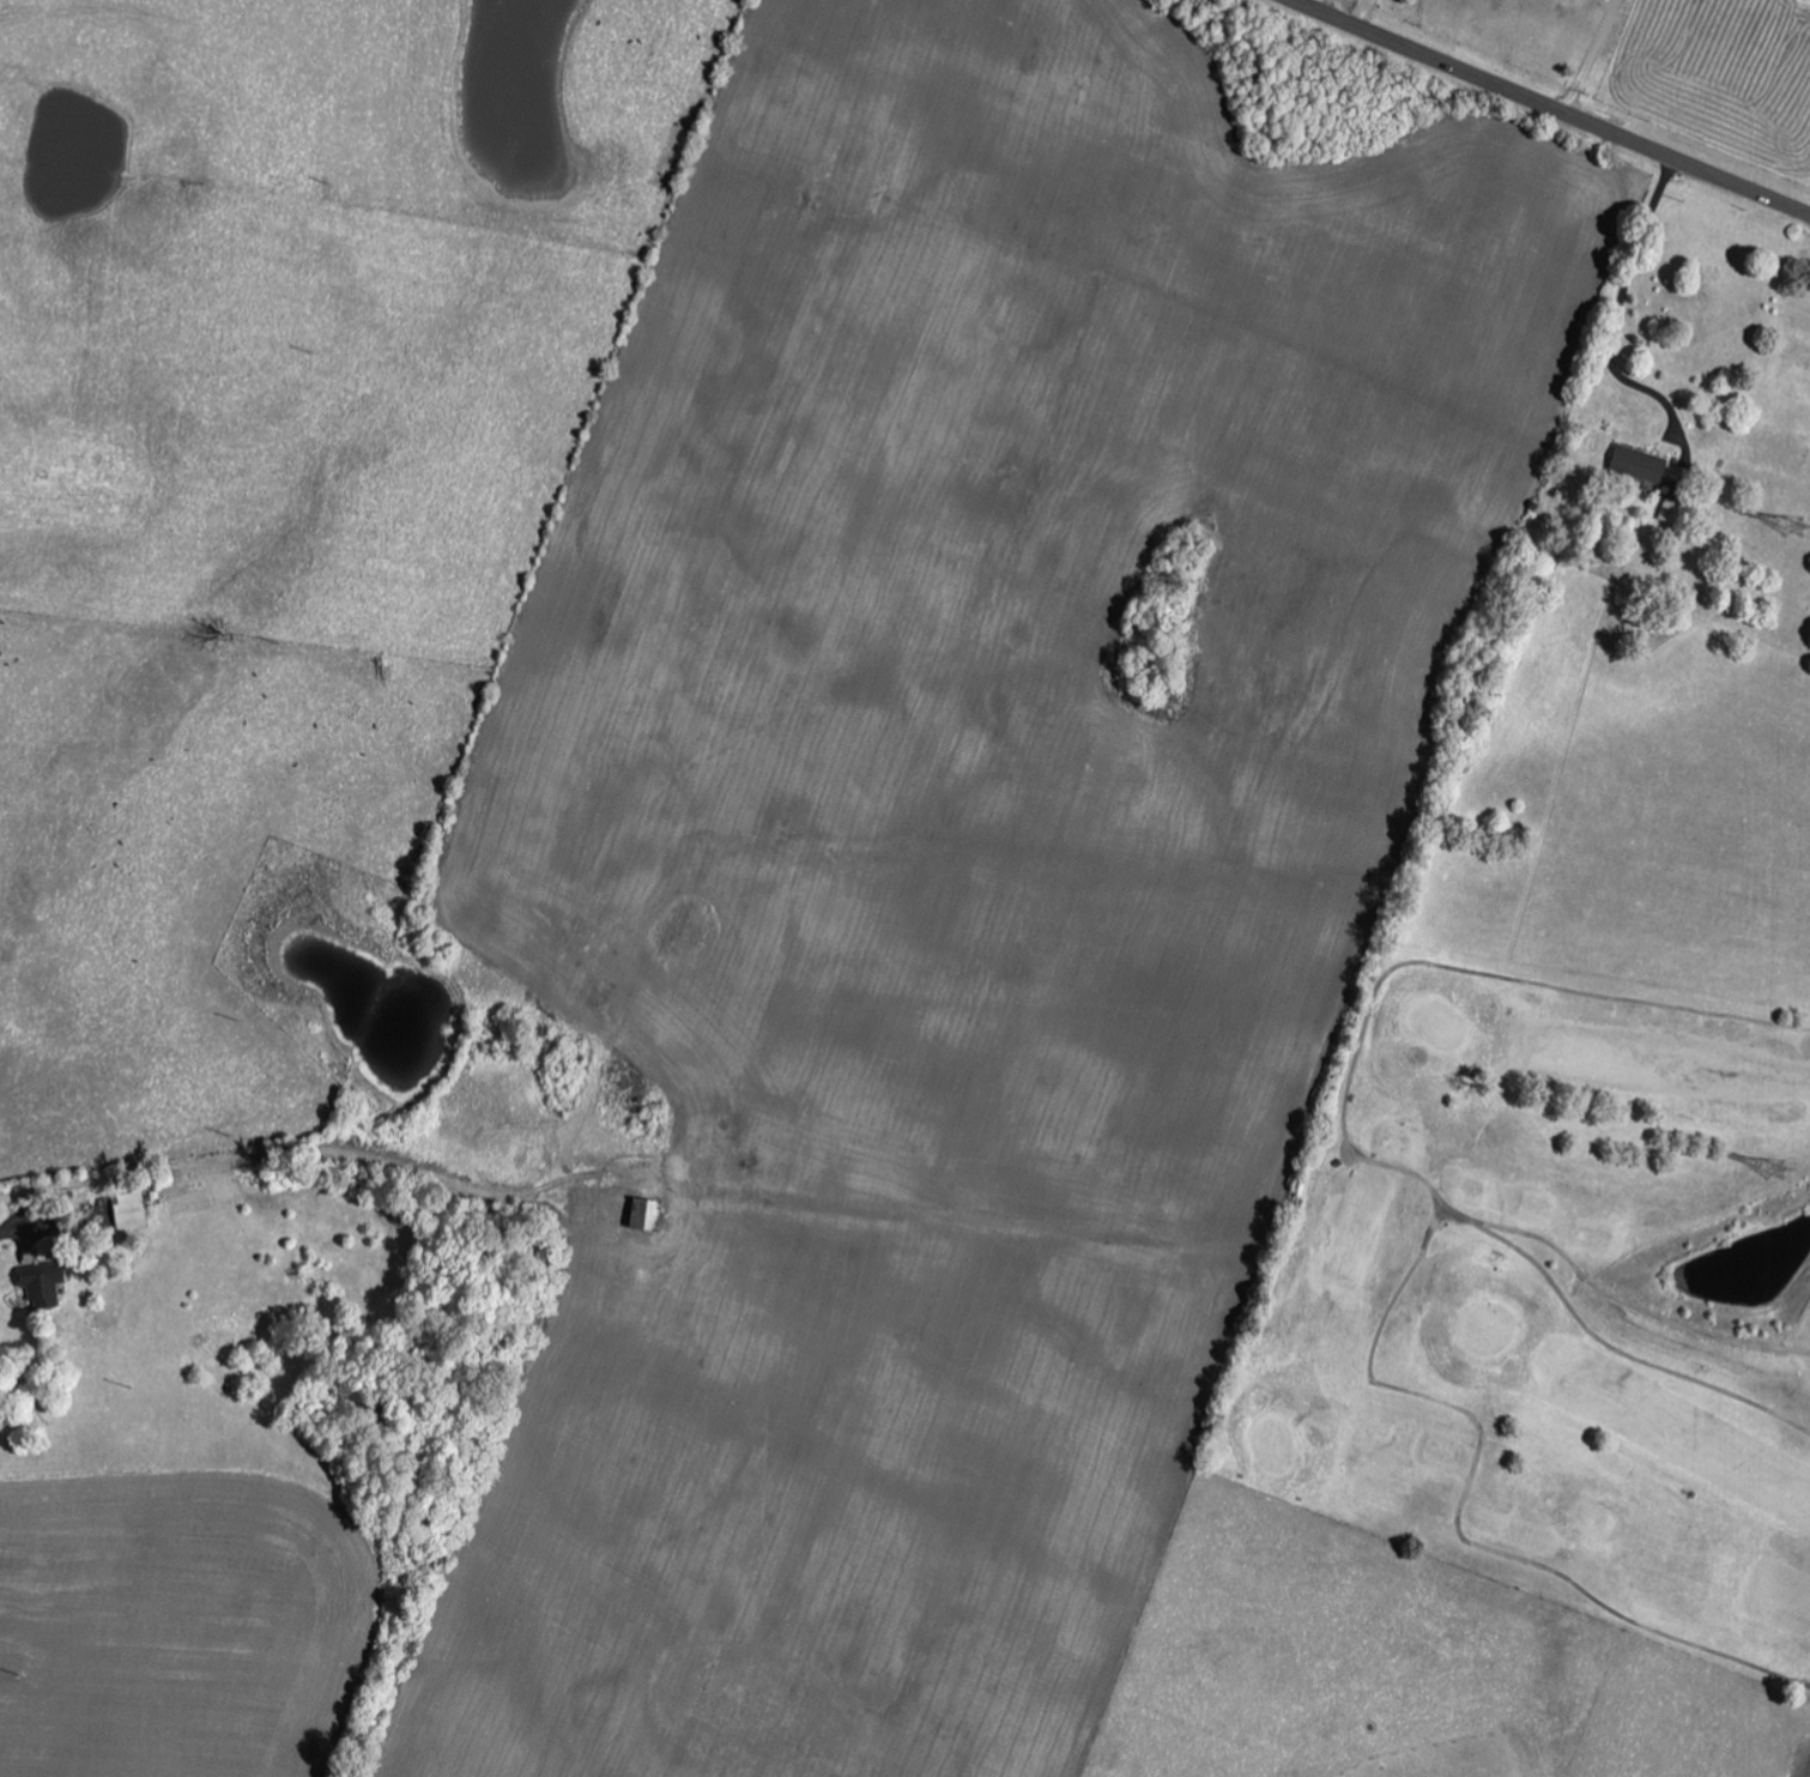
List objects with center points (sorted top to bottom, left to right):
road: (1552, 108)
road: (1624, 307)
building: (1642, 464)
power tower: (1787, 532)
power tower: (1782, 1180)
building: (133, 1209)
building: (649, 1211)
building: (44, 1285)
park: (1544, 1294)

